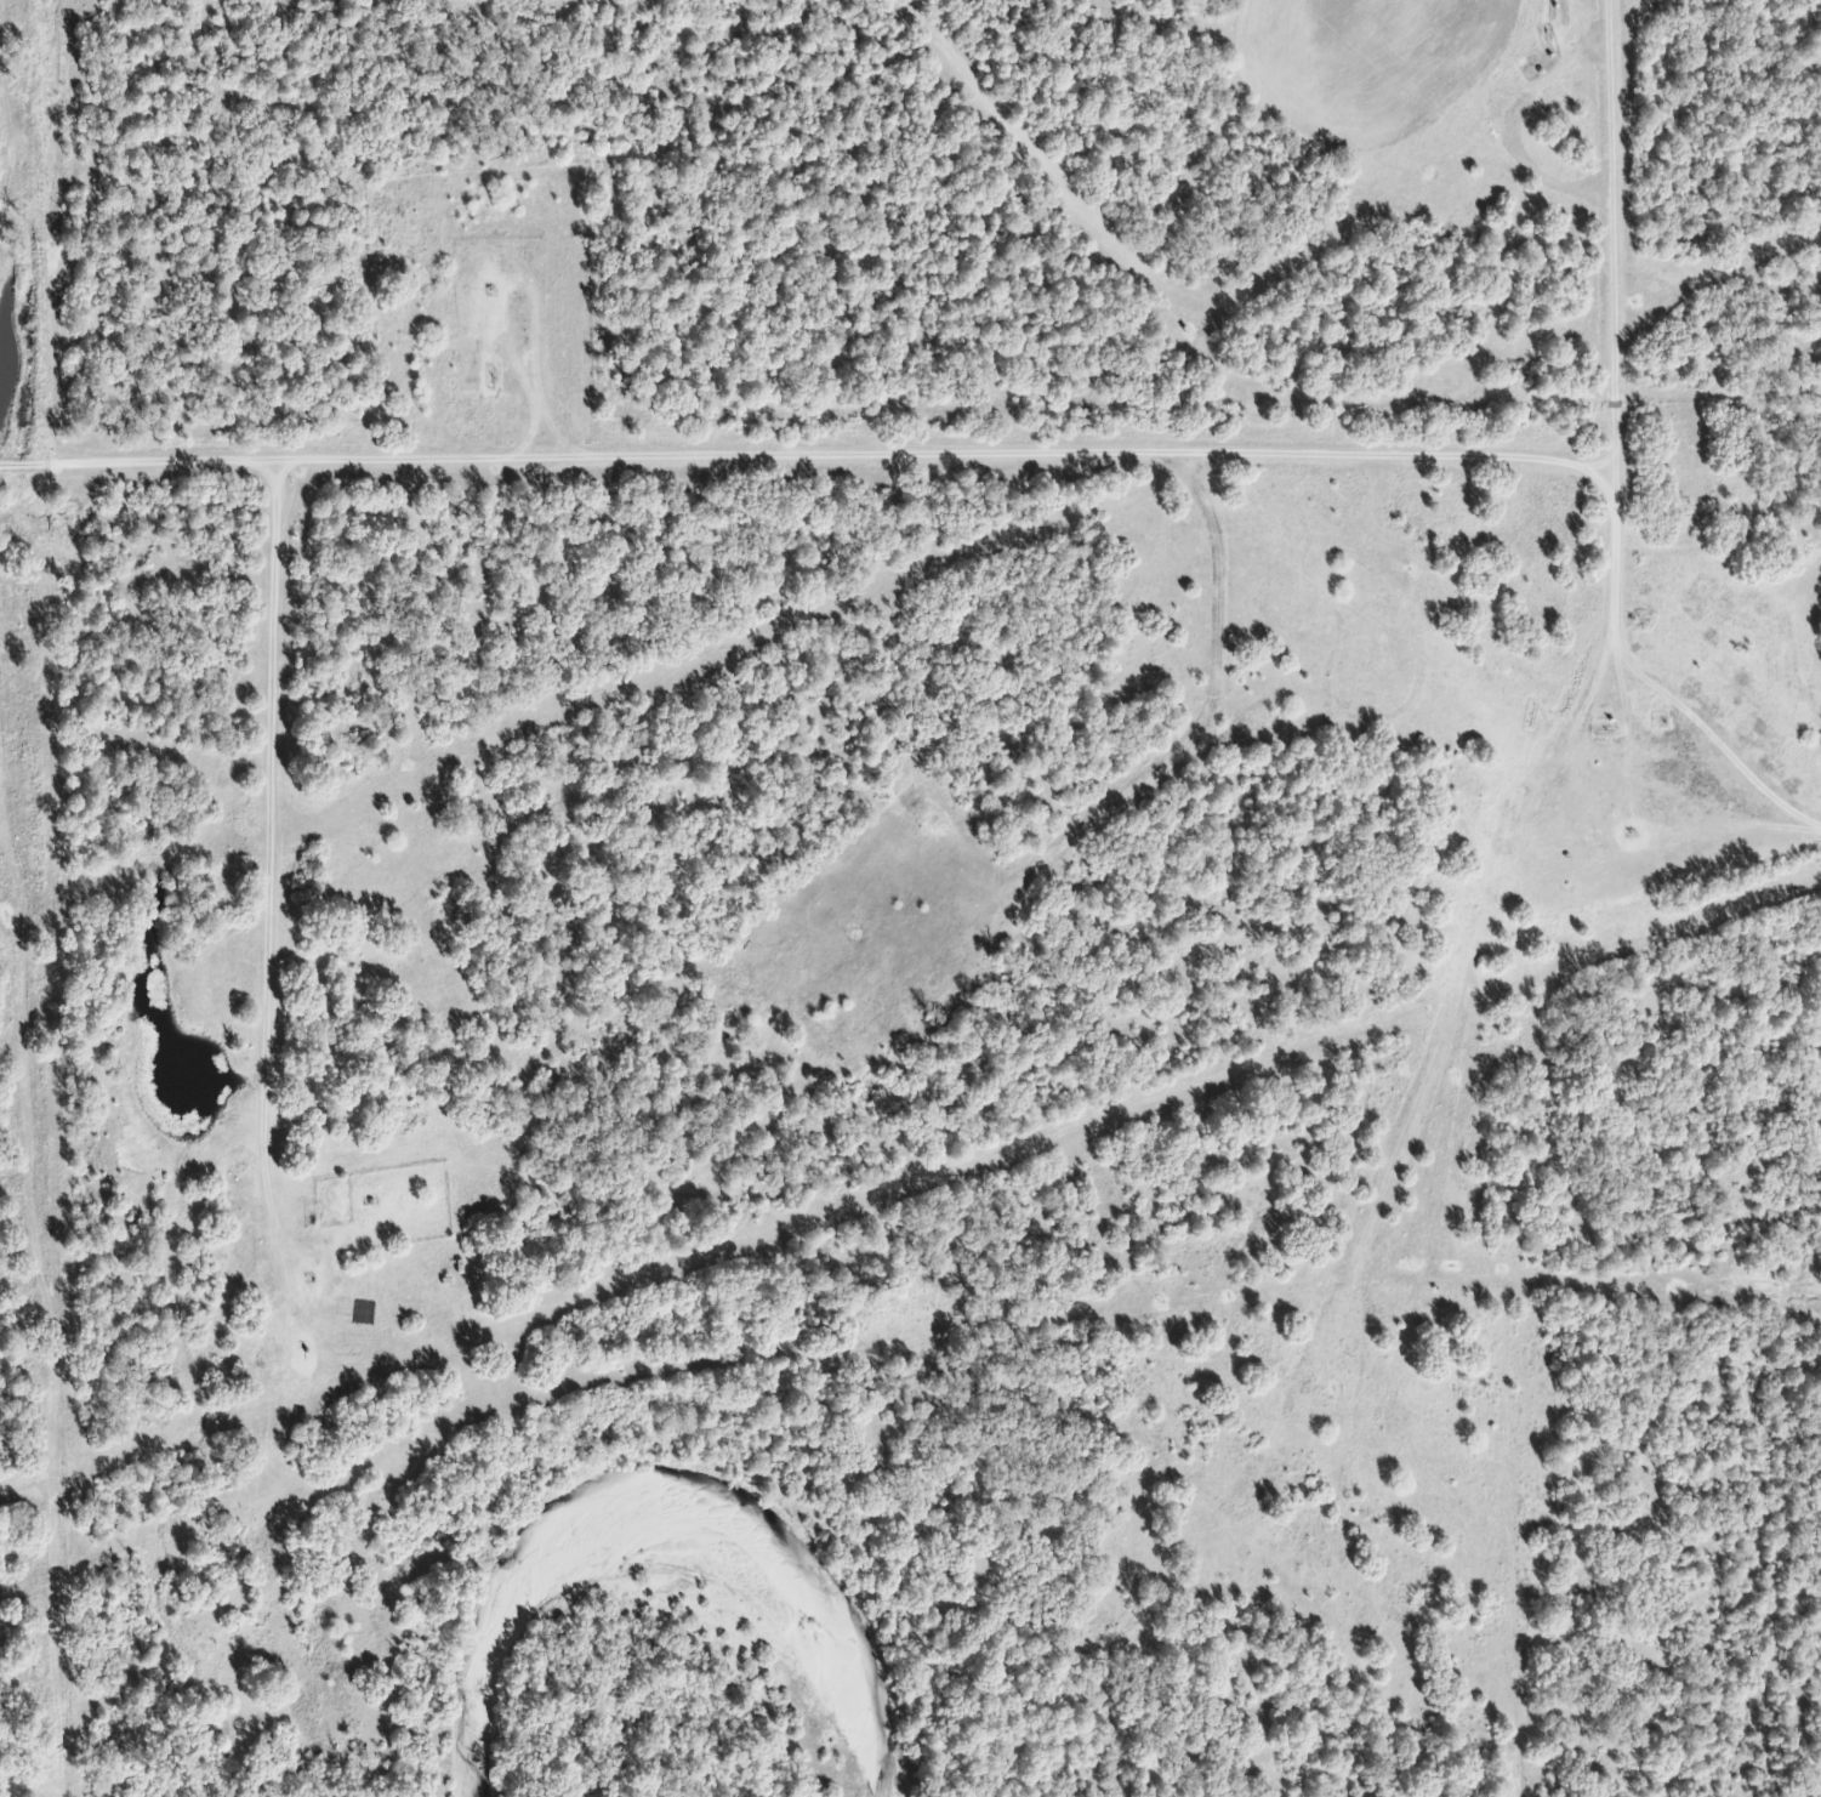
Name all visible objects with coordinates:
road: (807, 462)
road: (1615, 667)
road: (1708, 780)
road: (280, 910)

